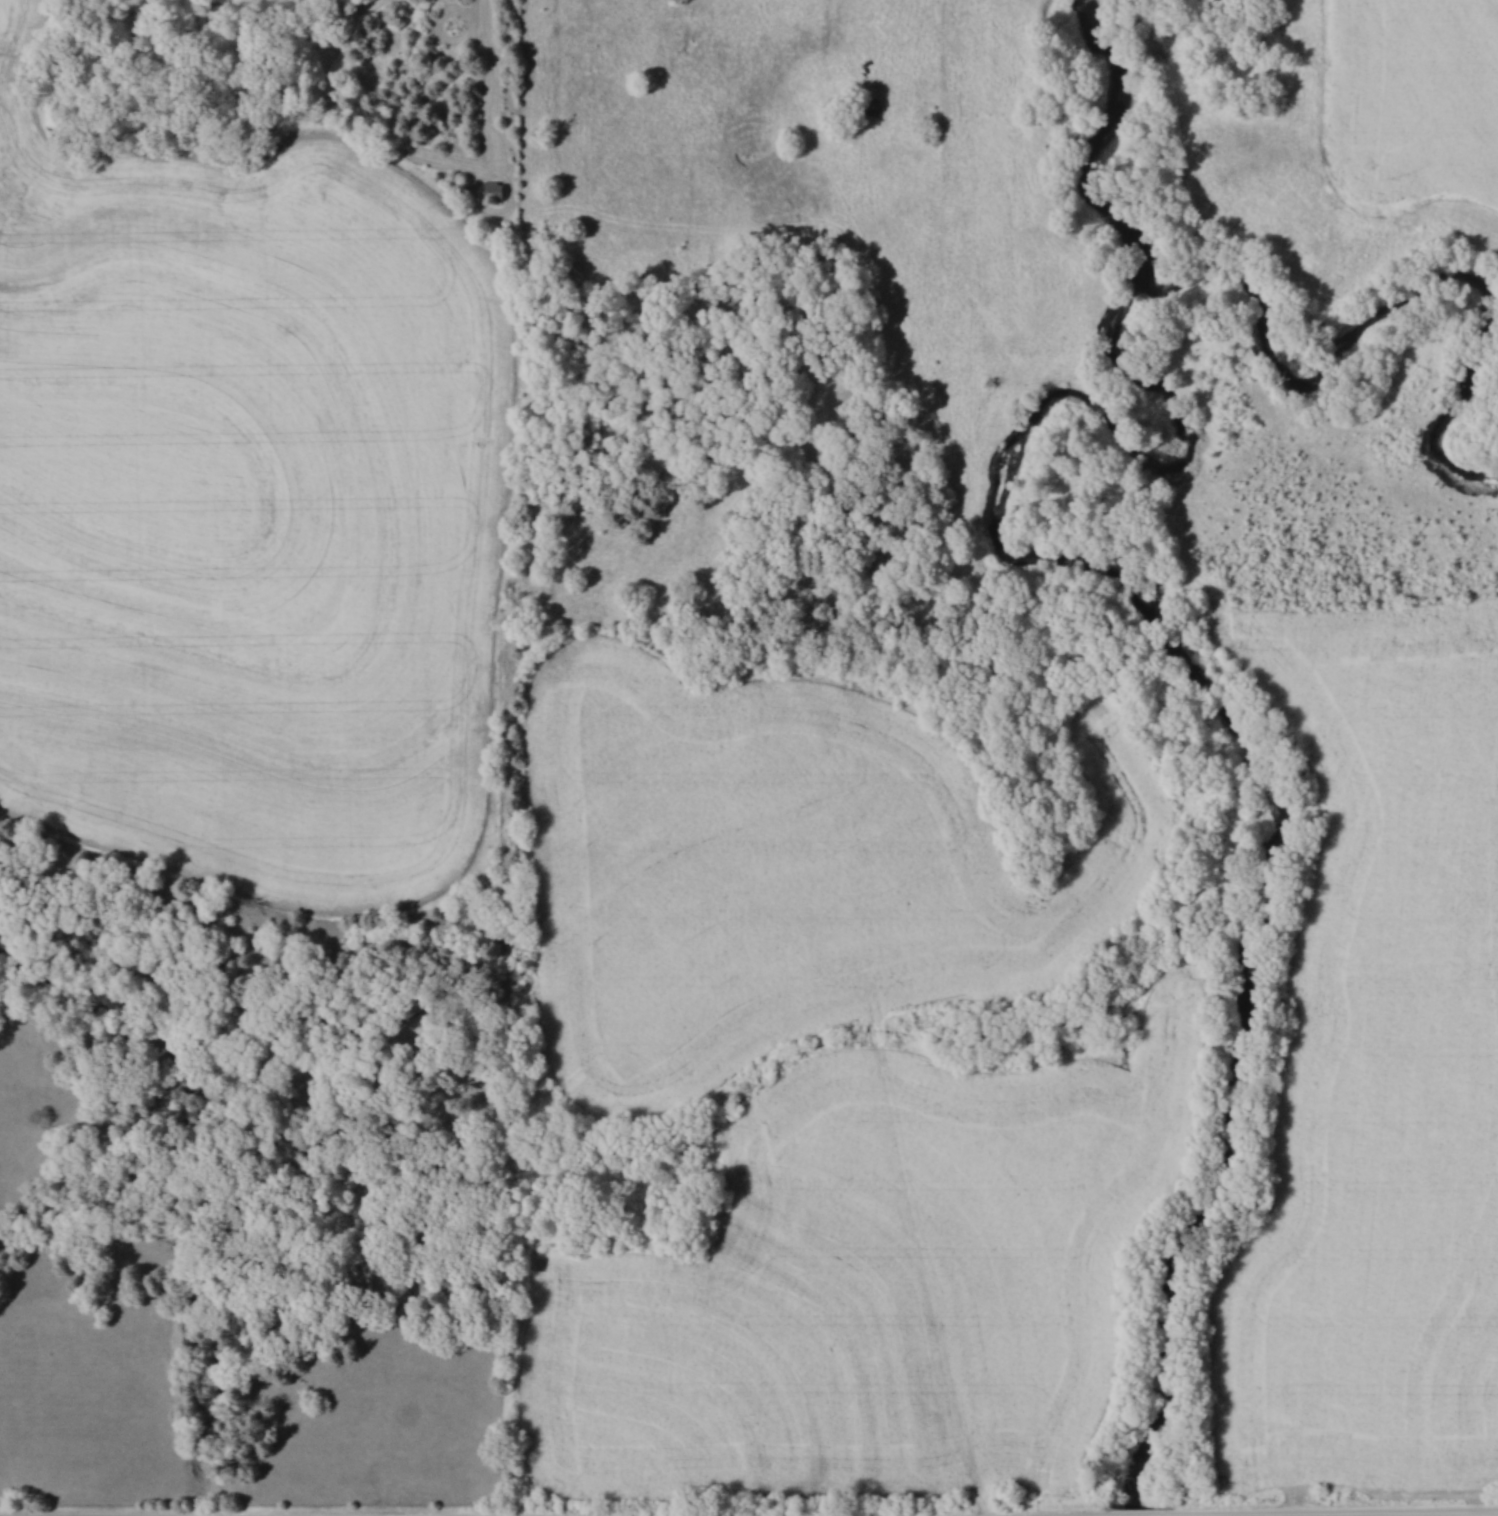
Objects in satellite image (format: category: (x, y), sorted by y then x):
building: (495, 190)
river: (1106, 577)

